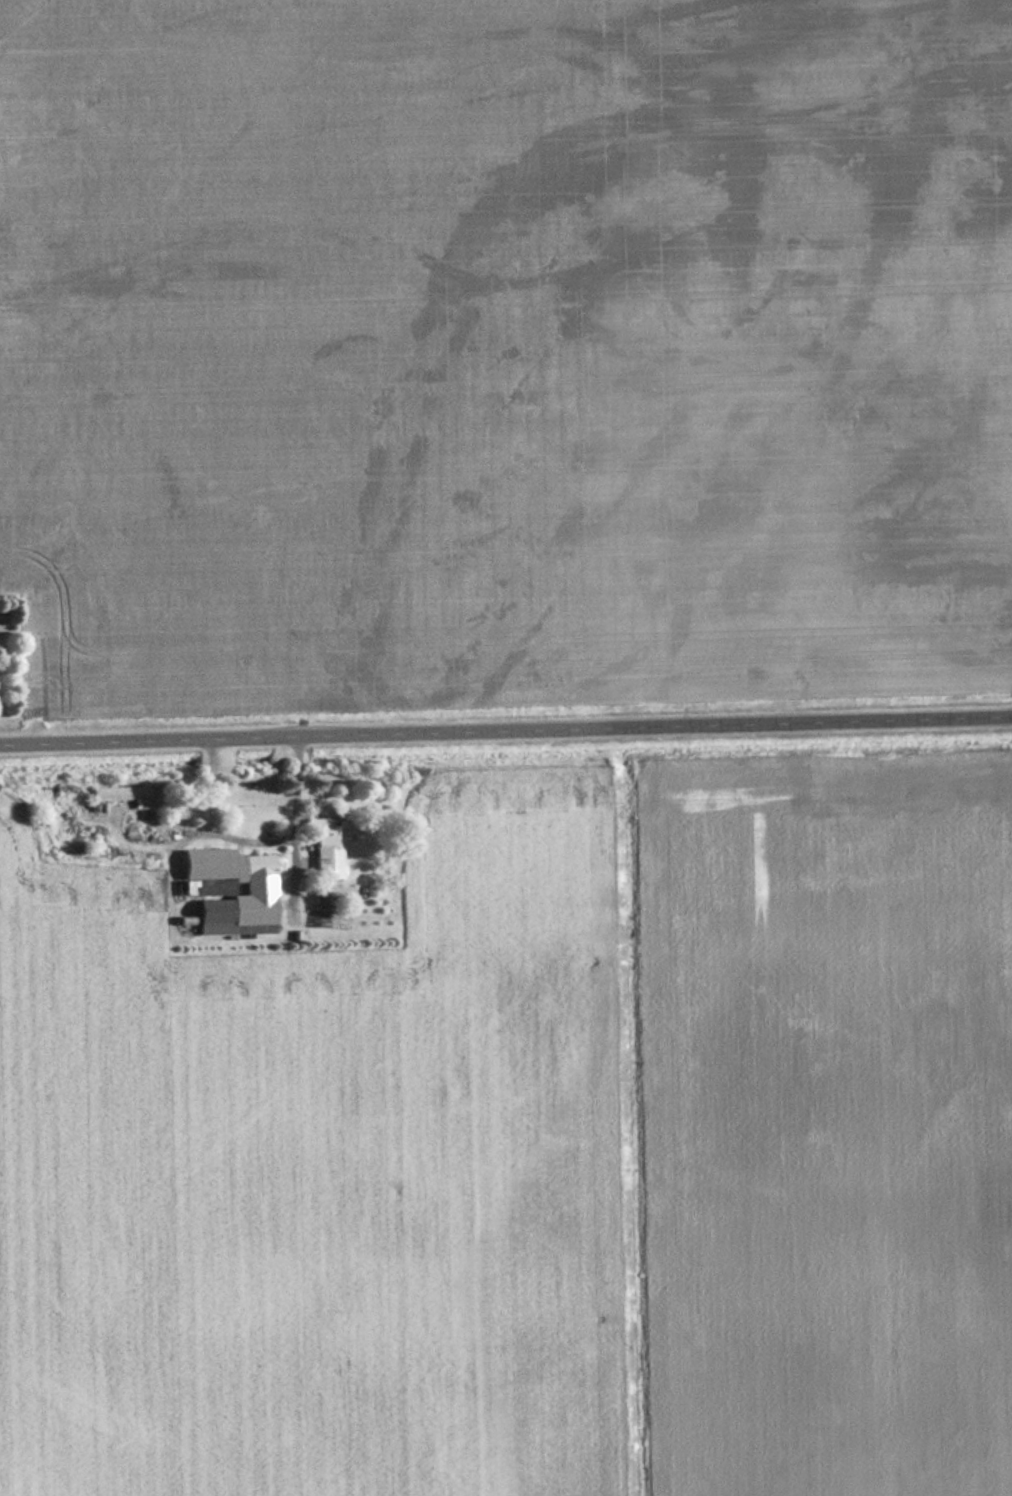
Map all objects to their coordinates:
road: (506, 722)
building: (120, 794)
building: (325, 849)
building: (231, 894)

